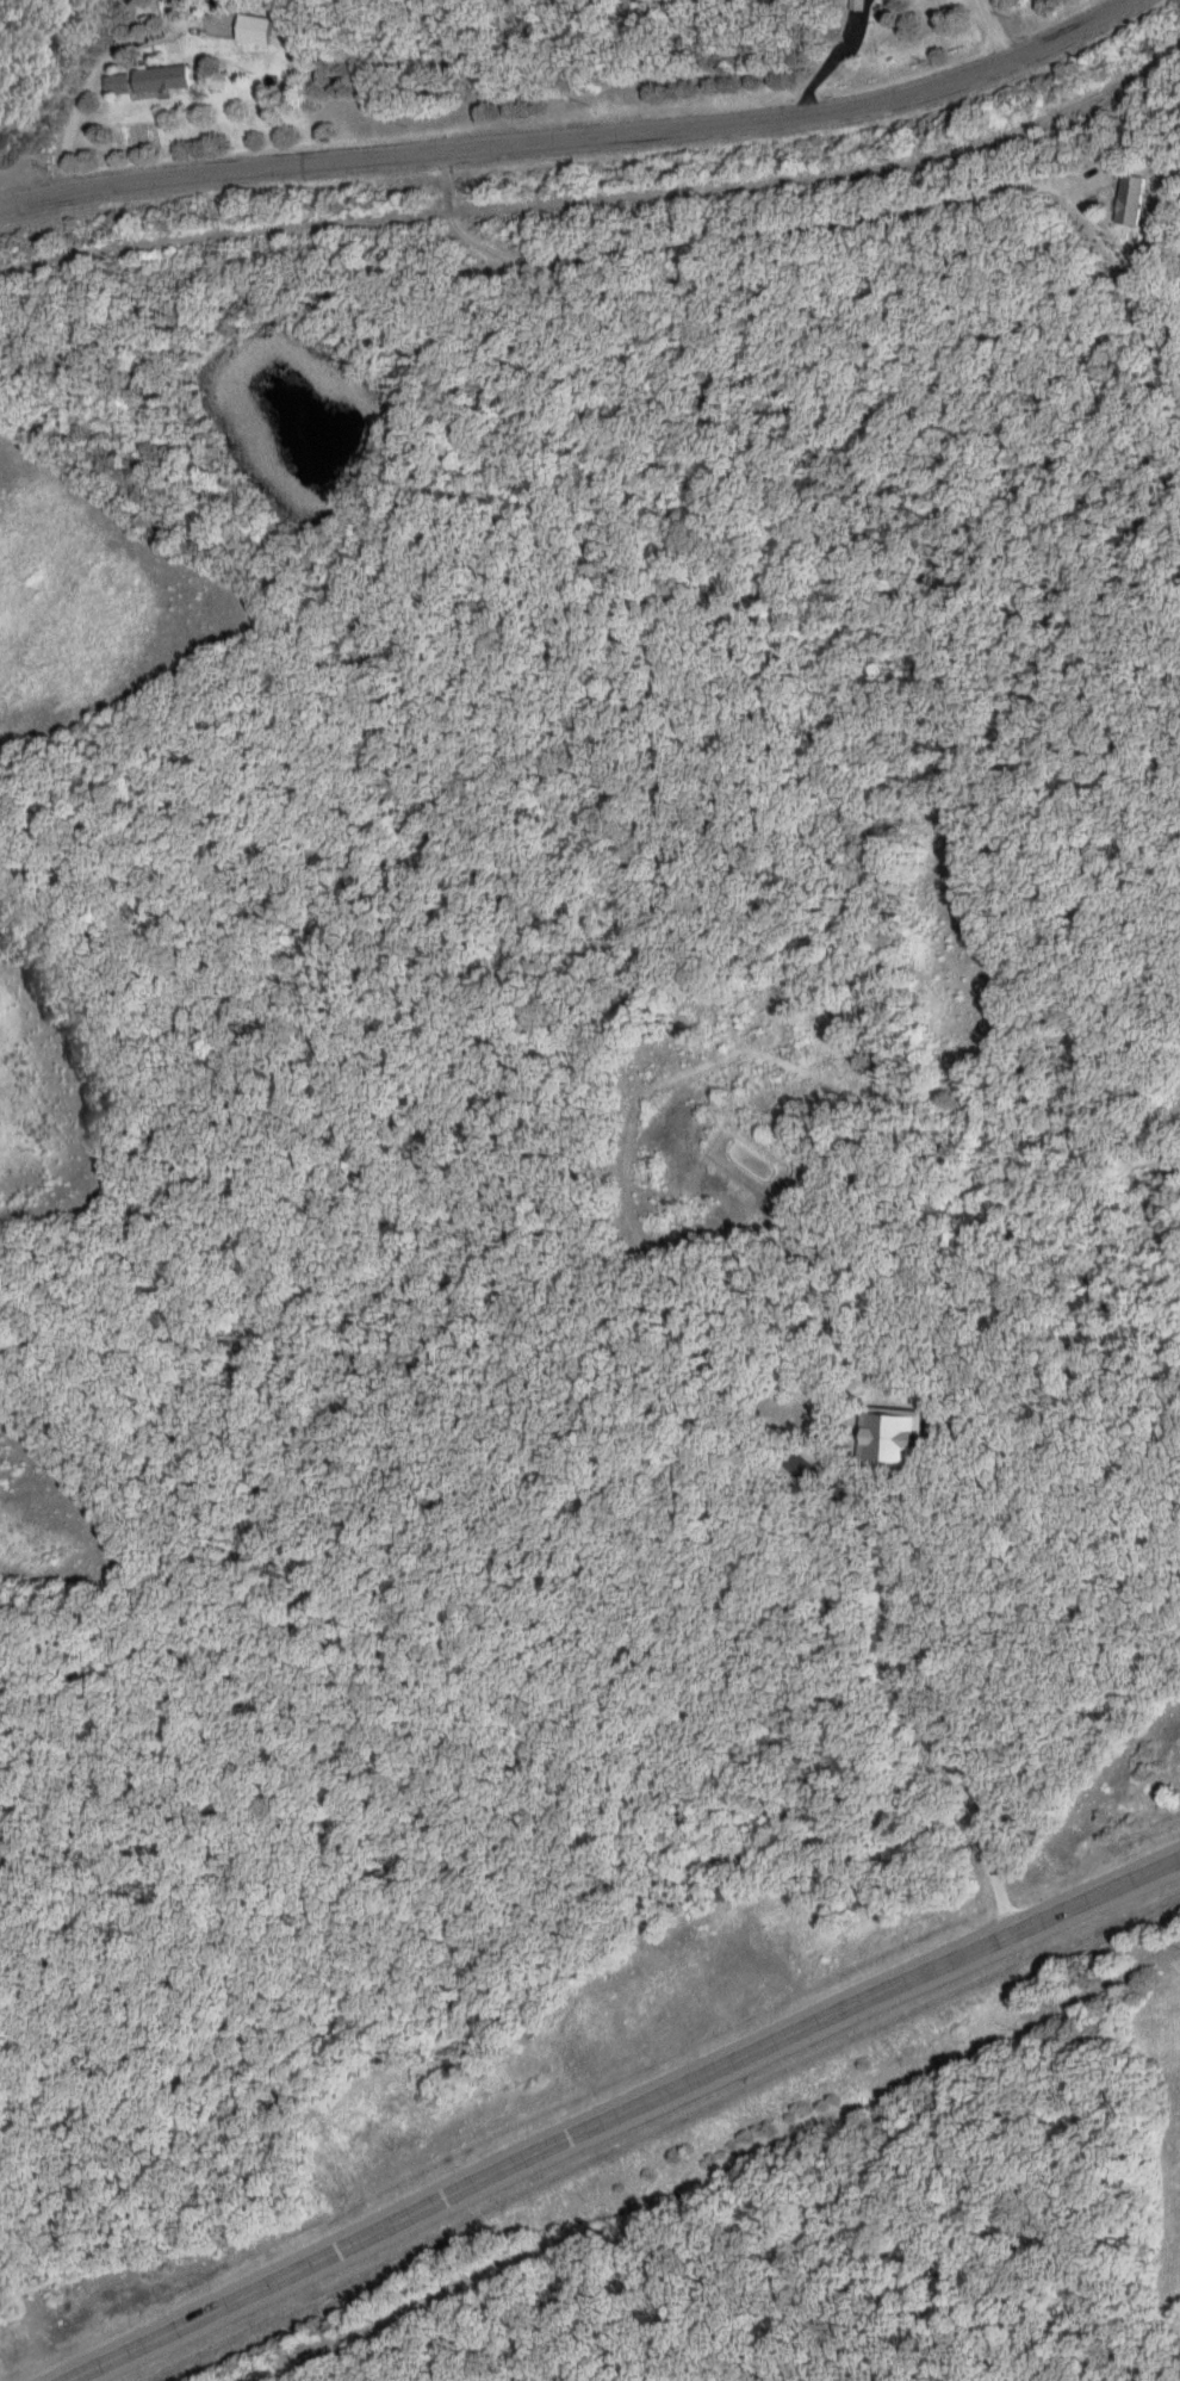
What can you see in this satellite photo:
building: (256, 29)
road: (993, 31)
road: (575, 136)
railway: (600, 196)
building: (1131, 200)
road: (733, 232)
building: (896, 1440)
road: (615, 2114)

